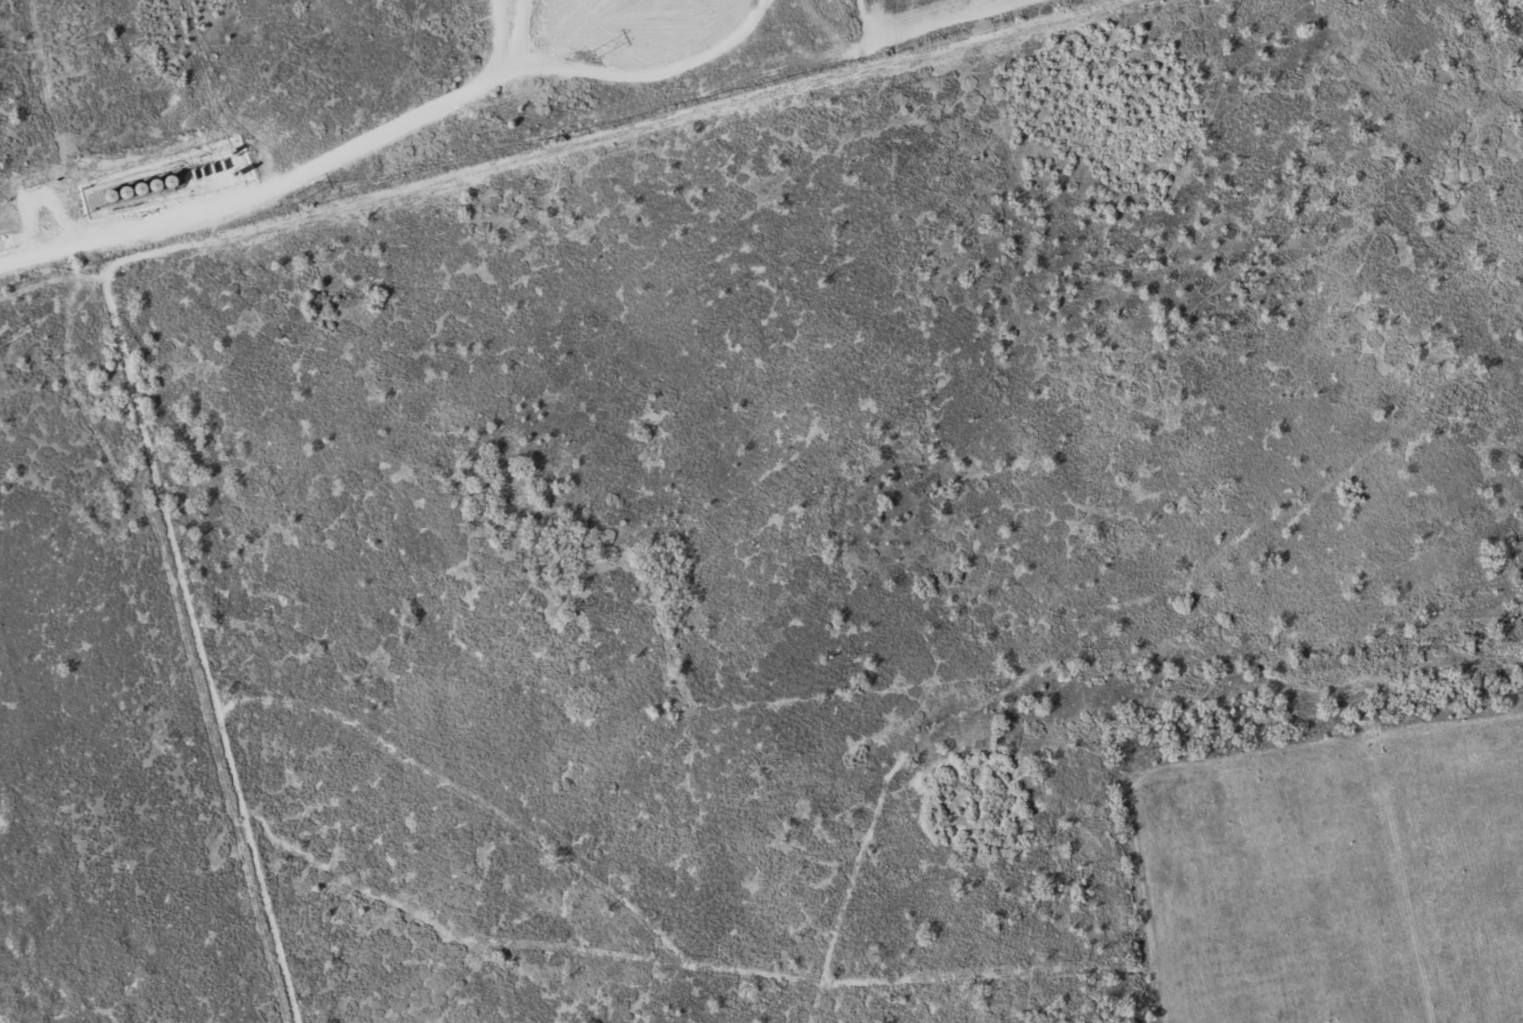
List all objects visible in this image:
power tower: (597, 50)
power tower: (299, 196)

